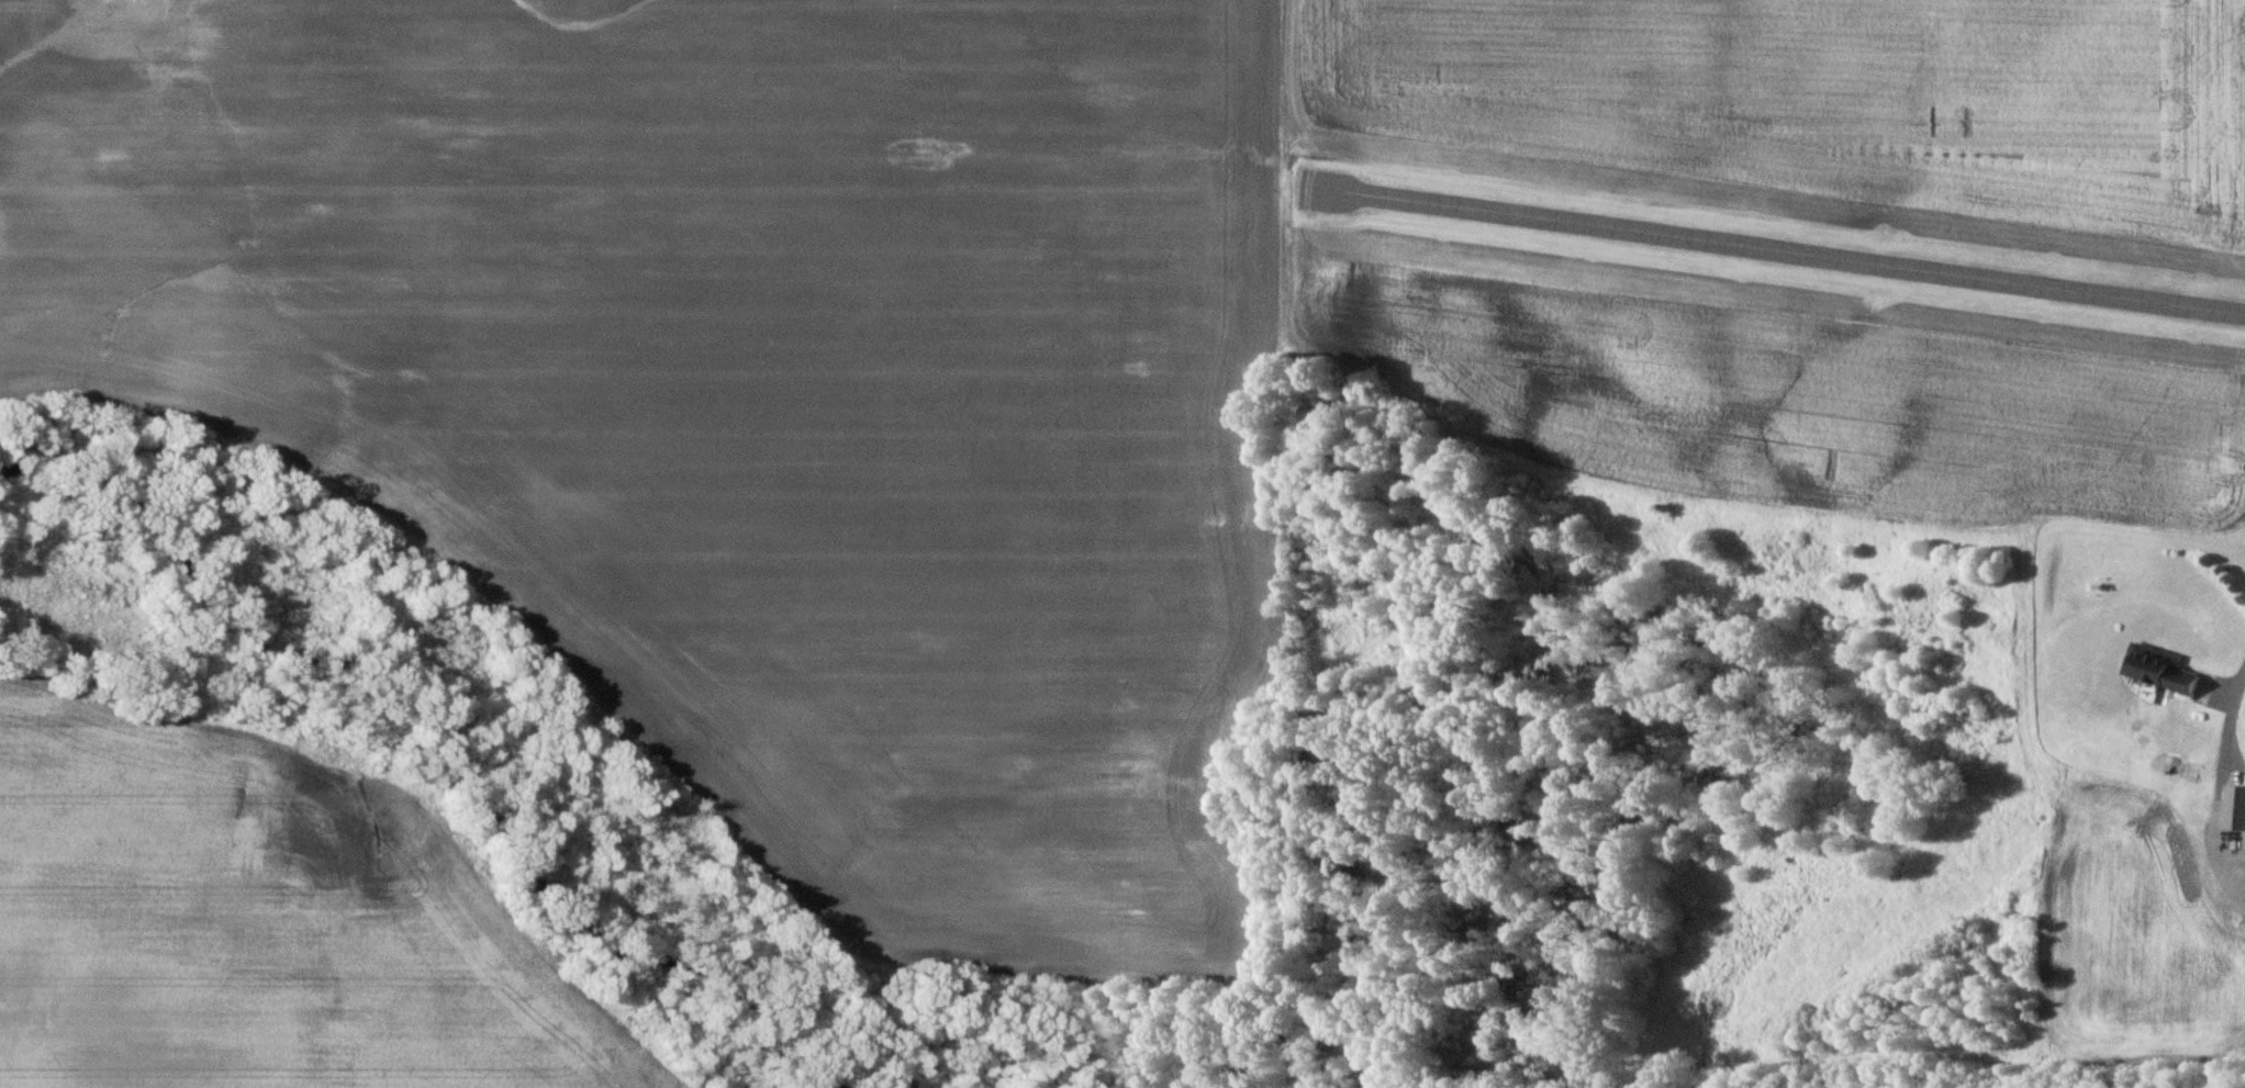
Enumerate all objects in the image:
airport runway: (1773, 253)
building: (2159, 671)

